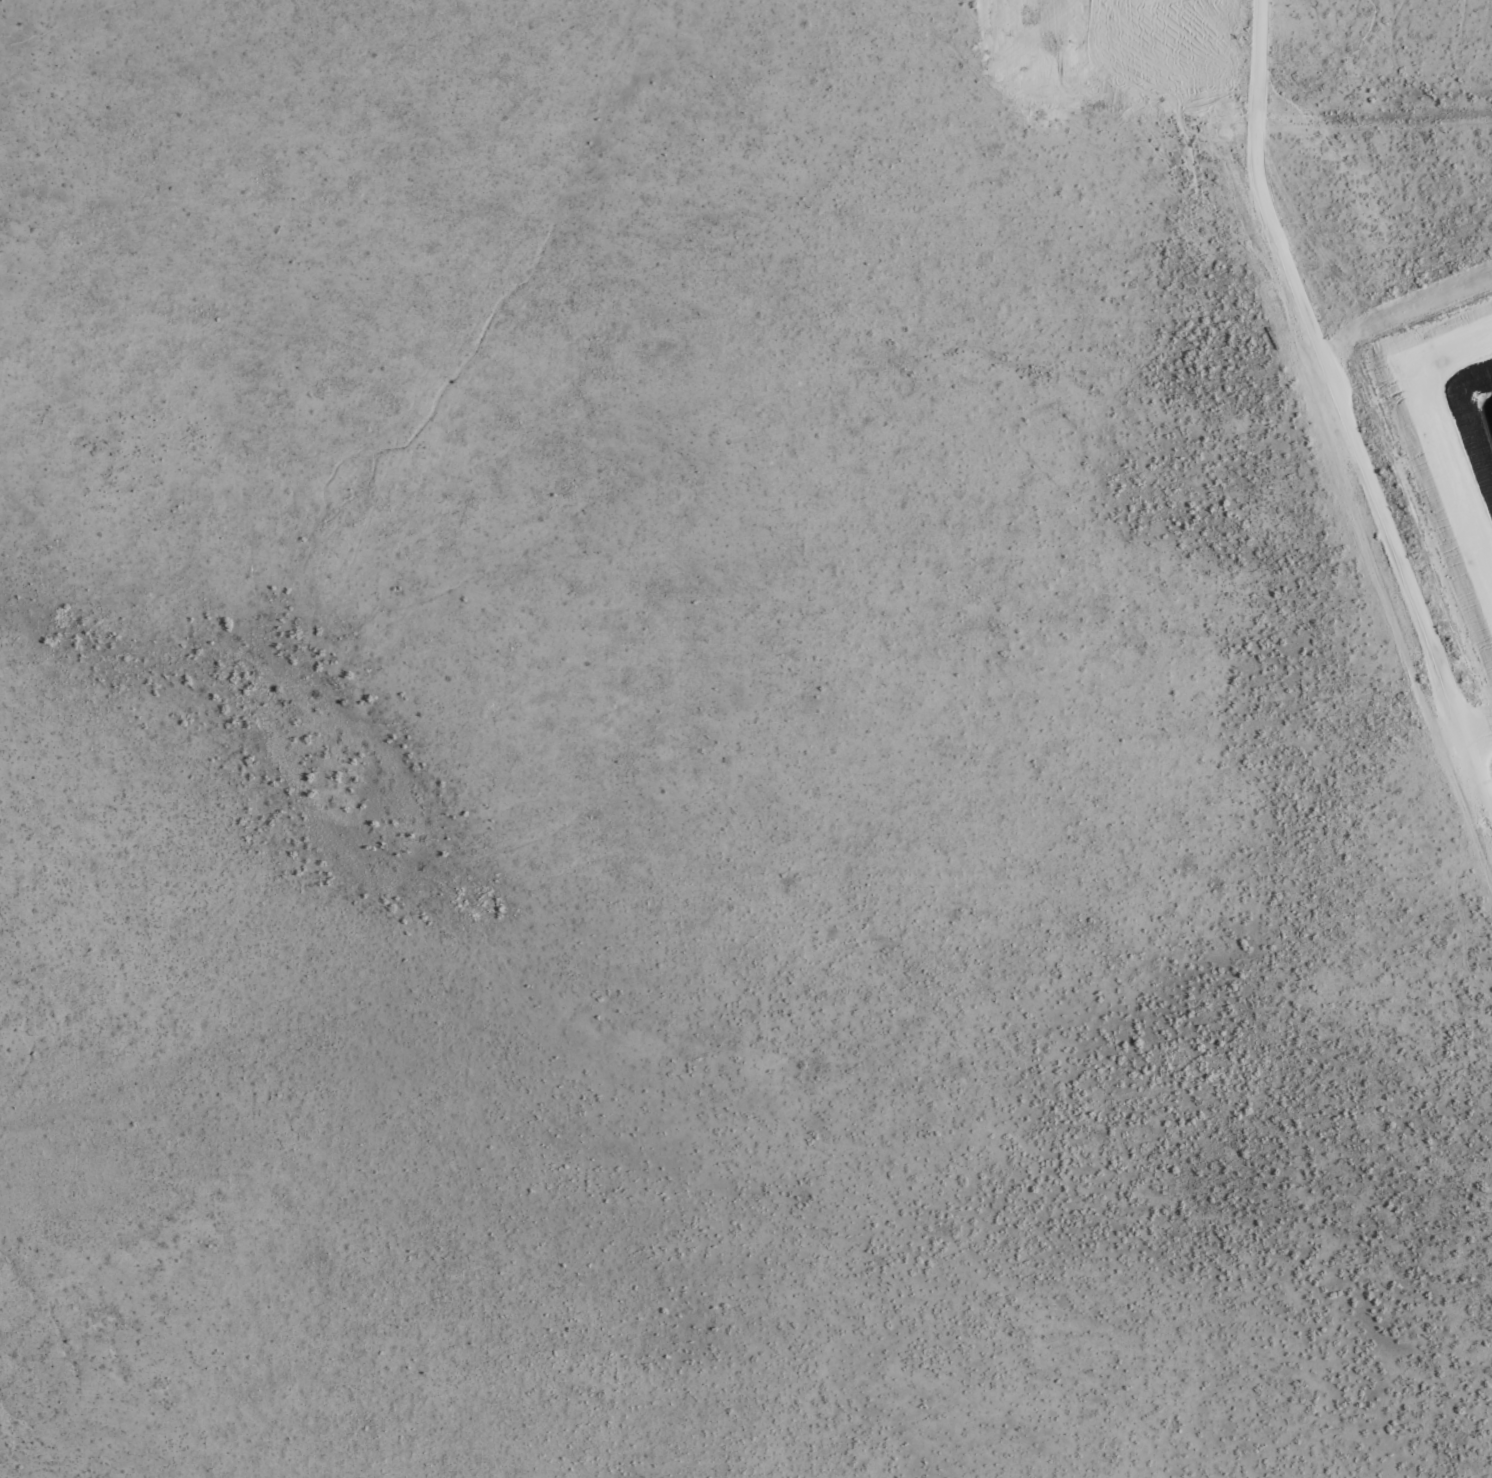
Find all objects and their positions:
road: (1339, 399)
road: (1483, 733)

